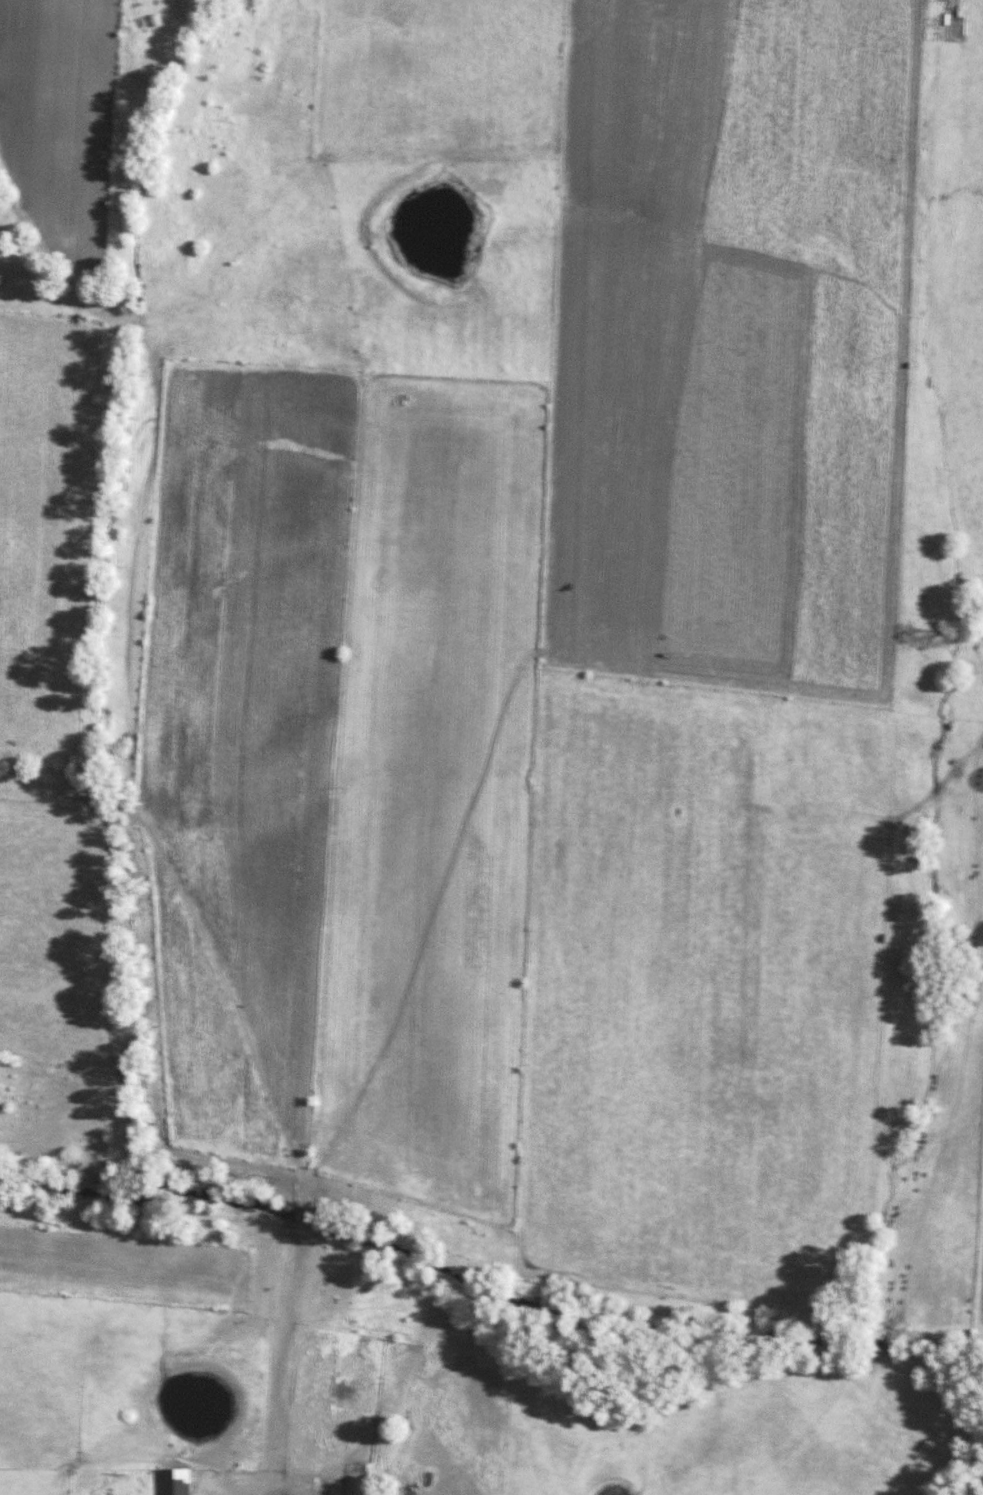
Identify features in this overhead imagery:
road: (547, 556)
road: (151, 994)
building: (181, 1481)
building: (308, 1494)

